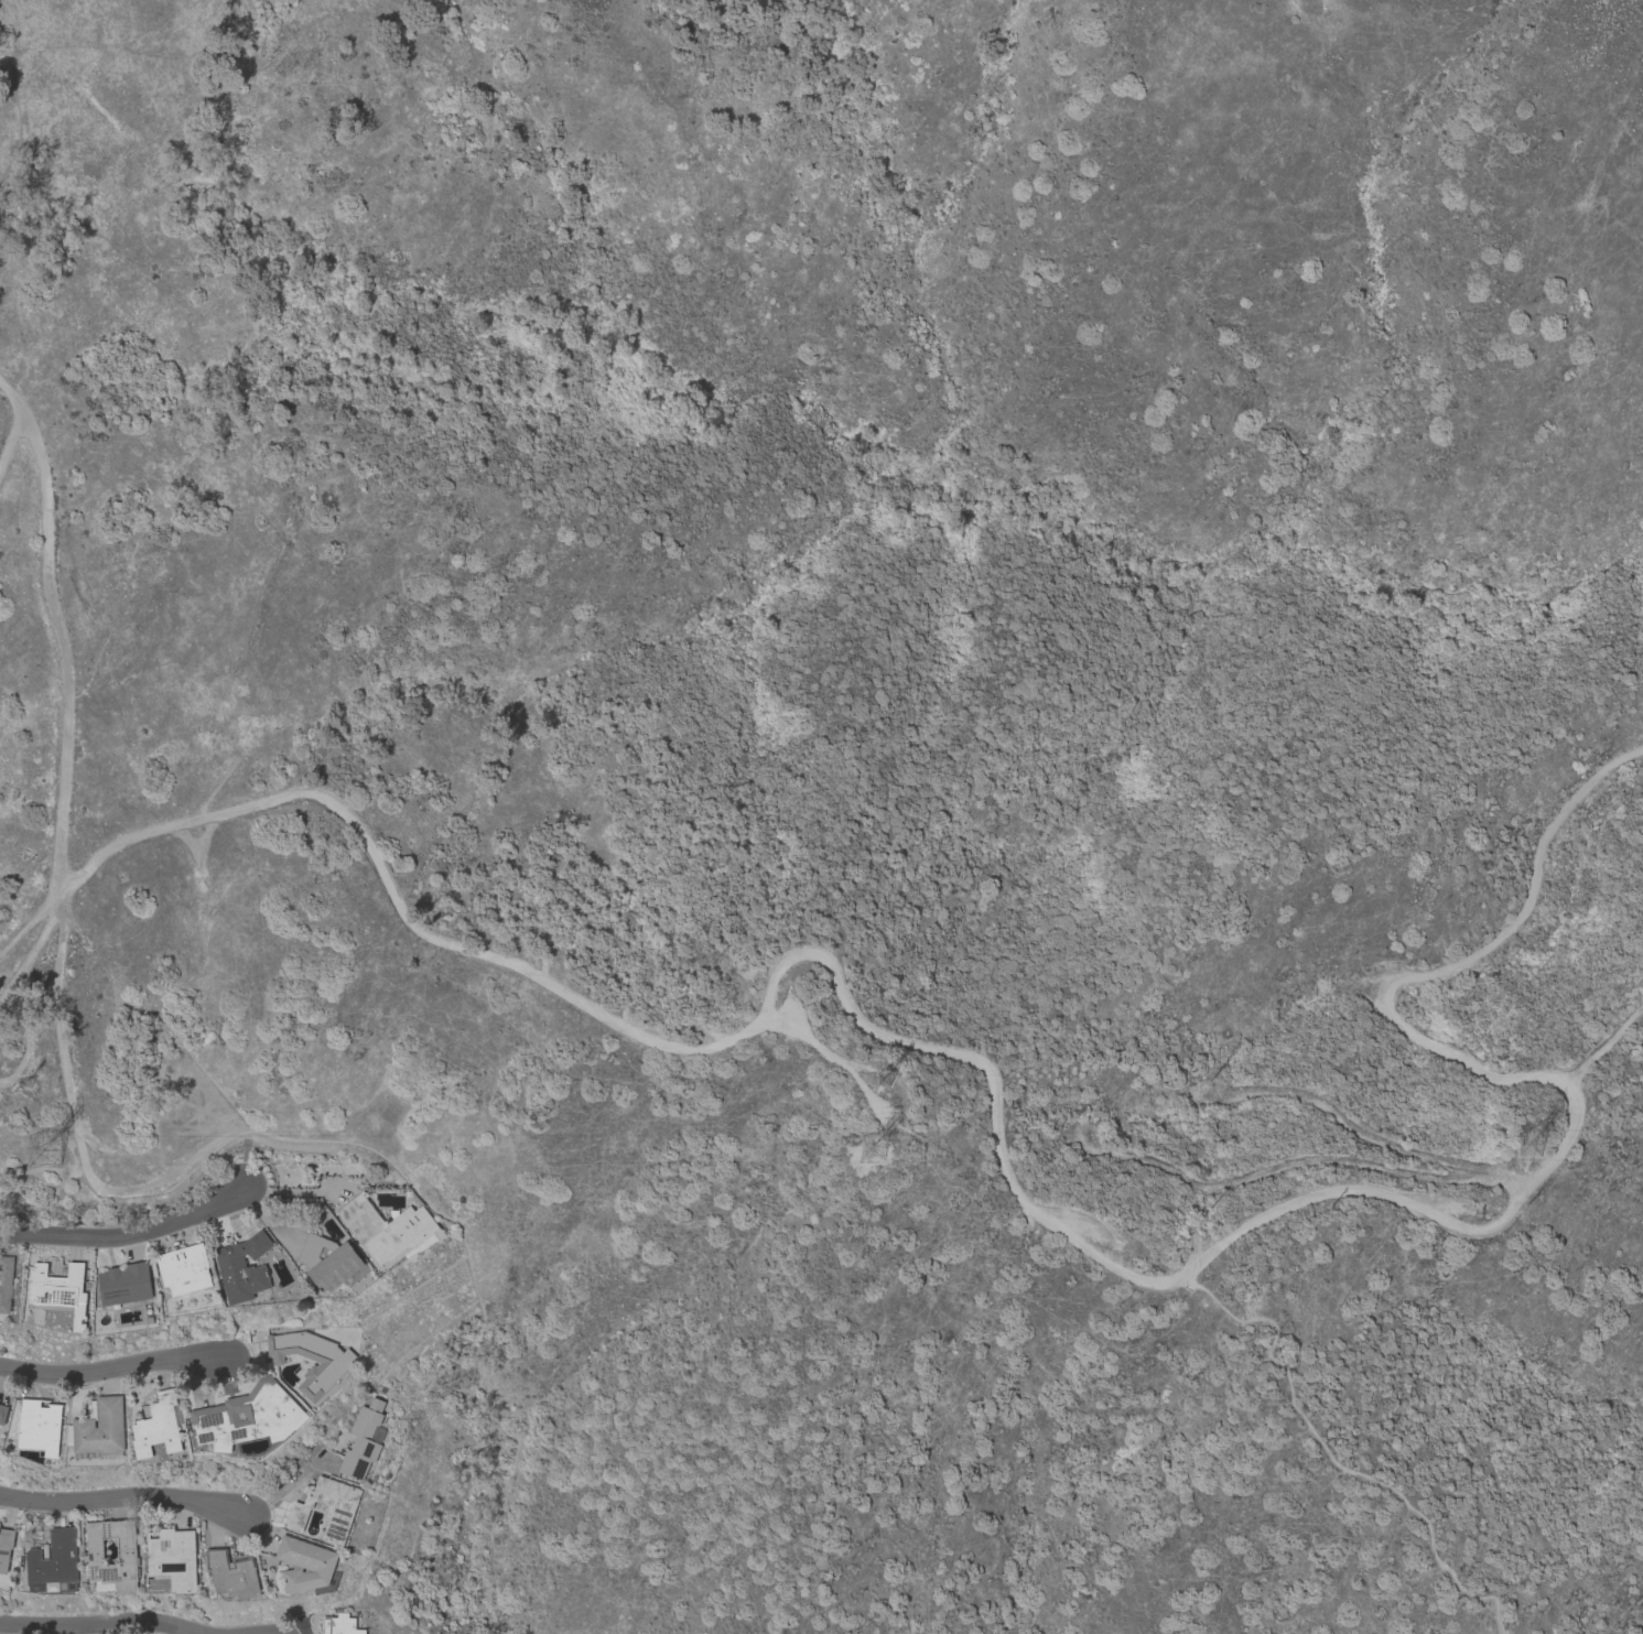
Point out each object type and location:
road: (10, 442)
road: (61, 848)
power tower: (28, 1081)
power tower: (888, 1082)
power tower: (1532, 1146)
road: (247, 1149)
power tower: (874, 1153)
power tower: (45, 1155)
road: (1036, 1212)
building: (387, 1230)
road: (127, 1232)
building: (328, 1260)
building: (184, 1268)
building: (244, 1269)
building: (6, 1283)
building: (125, 1284)
building: (58, 1287)
building: (311, 1360)
road: (119, 1364)
building: (2, 1413)
building: (248, 1416)
building: (159, 1426)
building: (40, 1427)
building: (98, 1429)
building: (361, 1443)
road: (1330, 1459)
road: (284, 1484)
road: (121, 1497)
building: (327, 1508)
building: (0, 1523)
building: (6, 1548)
building: (174, 1557)
building: (94, 1560)
building: (54, 1562)
building: (303, 1565)
building: (231, 1573)
road: (98, 1623)
building: (339, 1624)

